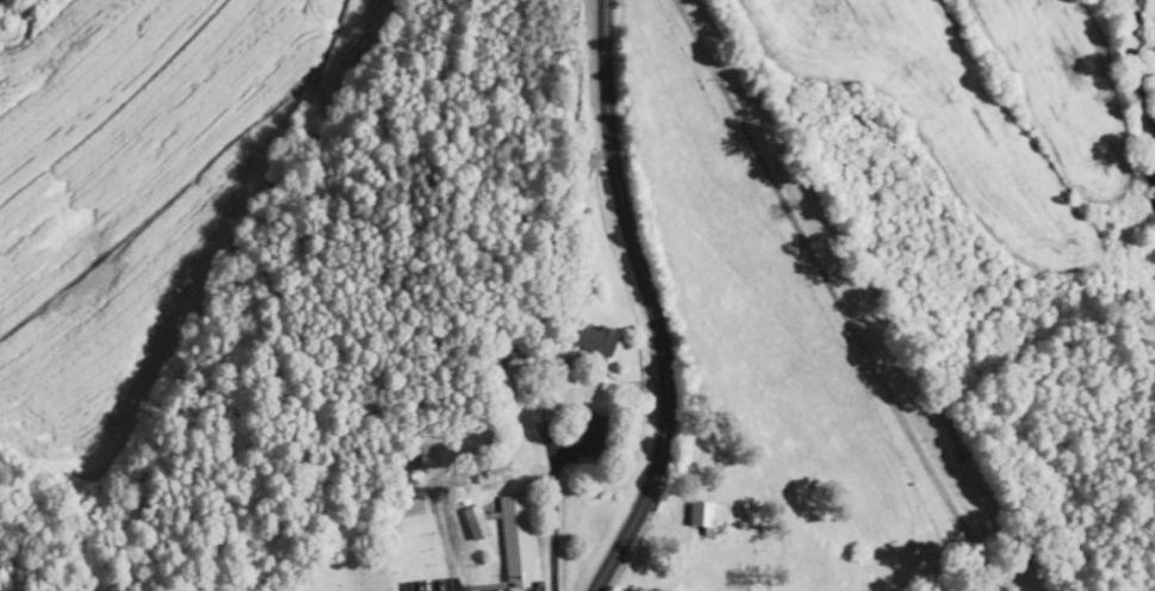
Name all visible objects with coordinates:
building: (851, 113)
road: (576, 235)
road: (836, 297)
road: (653, 301)
building: (597, 340)
building: (945, 433)
building: (592, 435)
building: (709, 514)
building: (477, 522)
road: (554, 524)
building: (517, 540)

